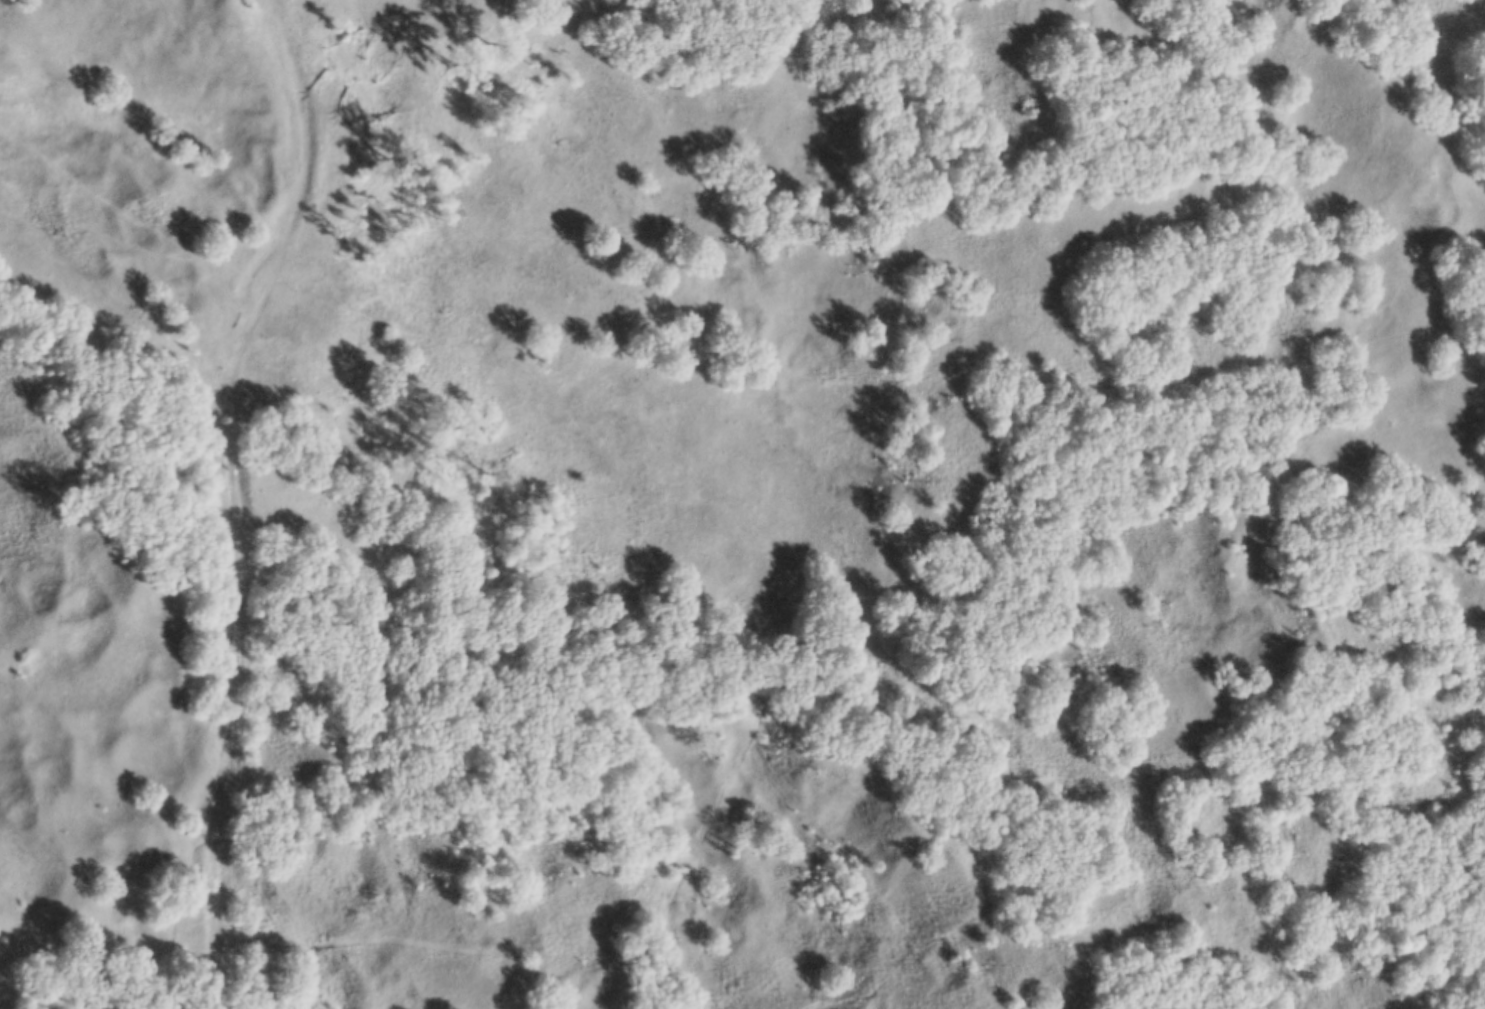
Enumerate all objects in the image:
road: (278, 954)

